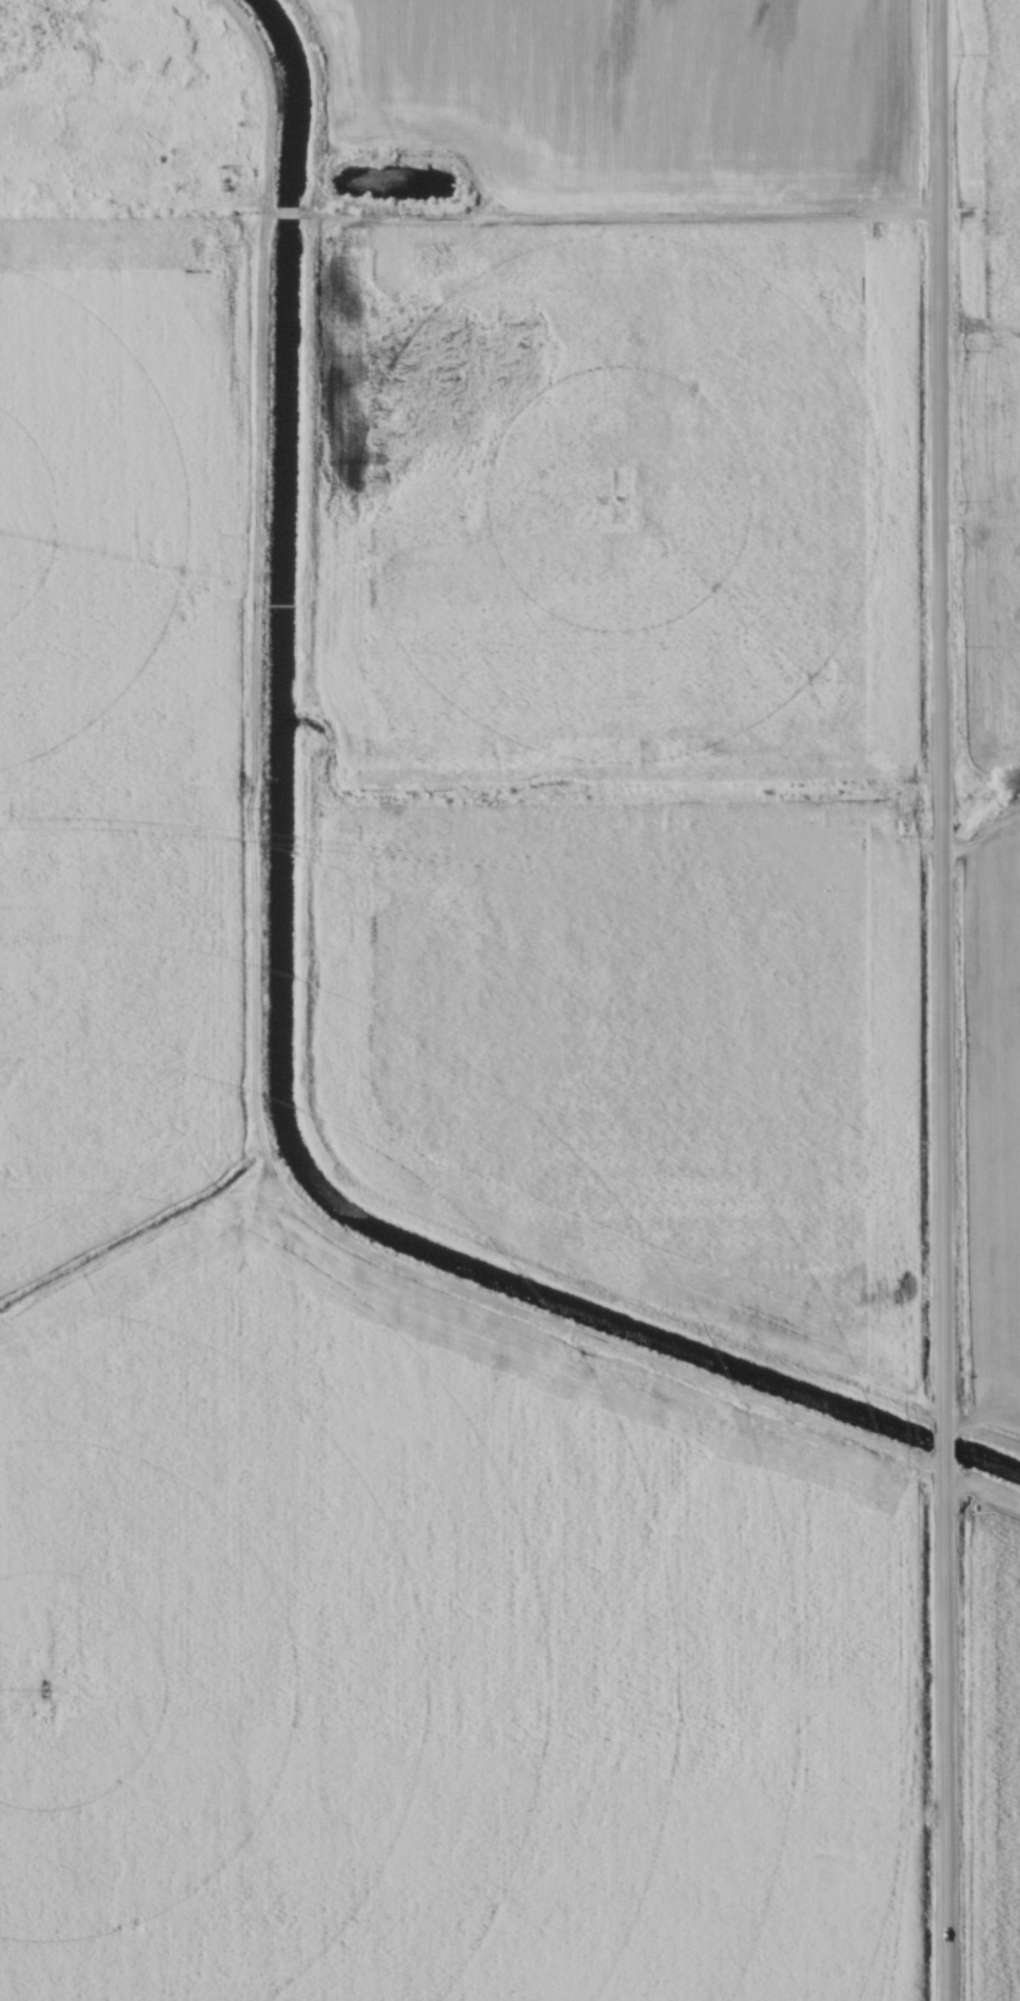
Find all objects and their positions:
crop: (658, 379)
crop: (991, 382)
building: (915, 639)
road: (941, 1000)
crop: (641, 1021)
crop: (998, 1098)
crop: (347, 1435)
crop: (994, 1753)

